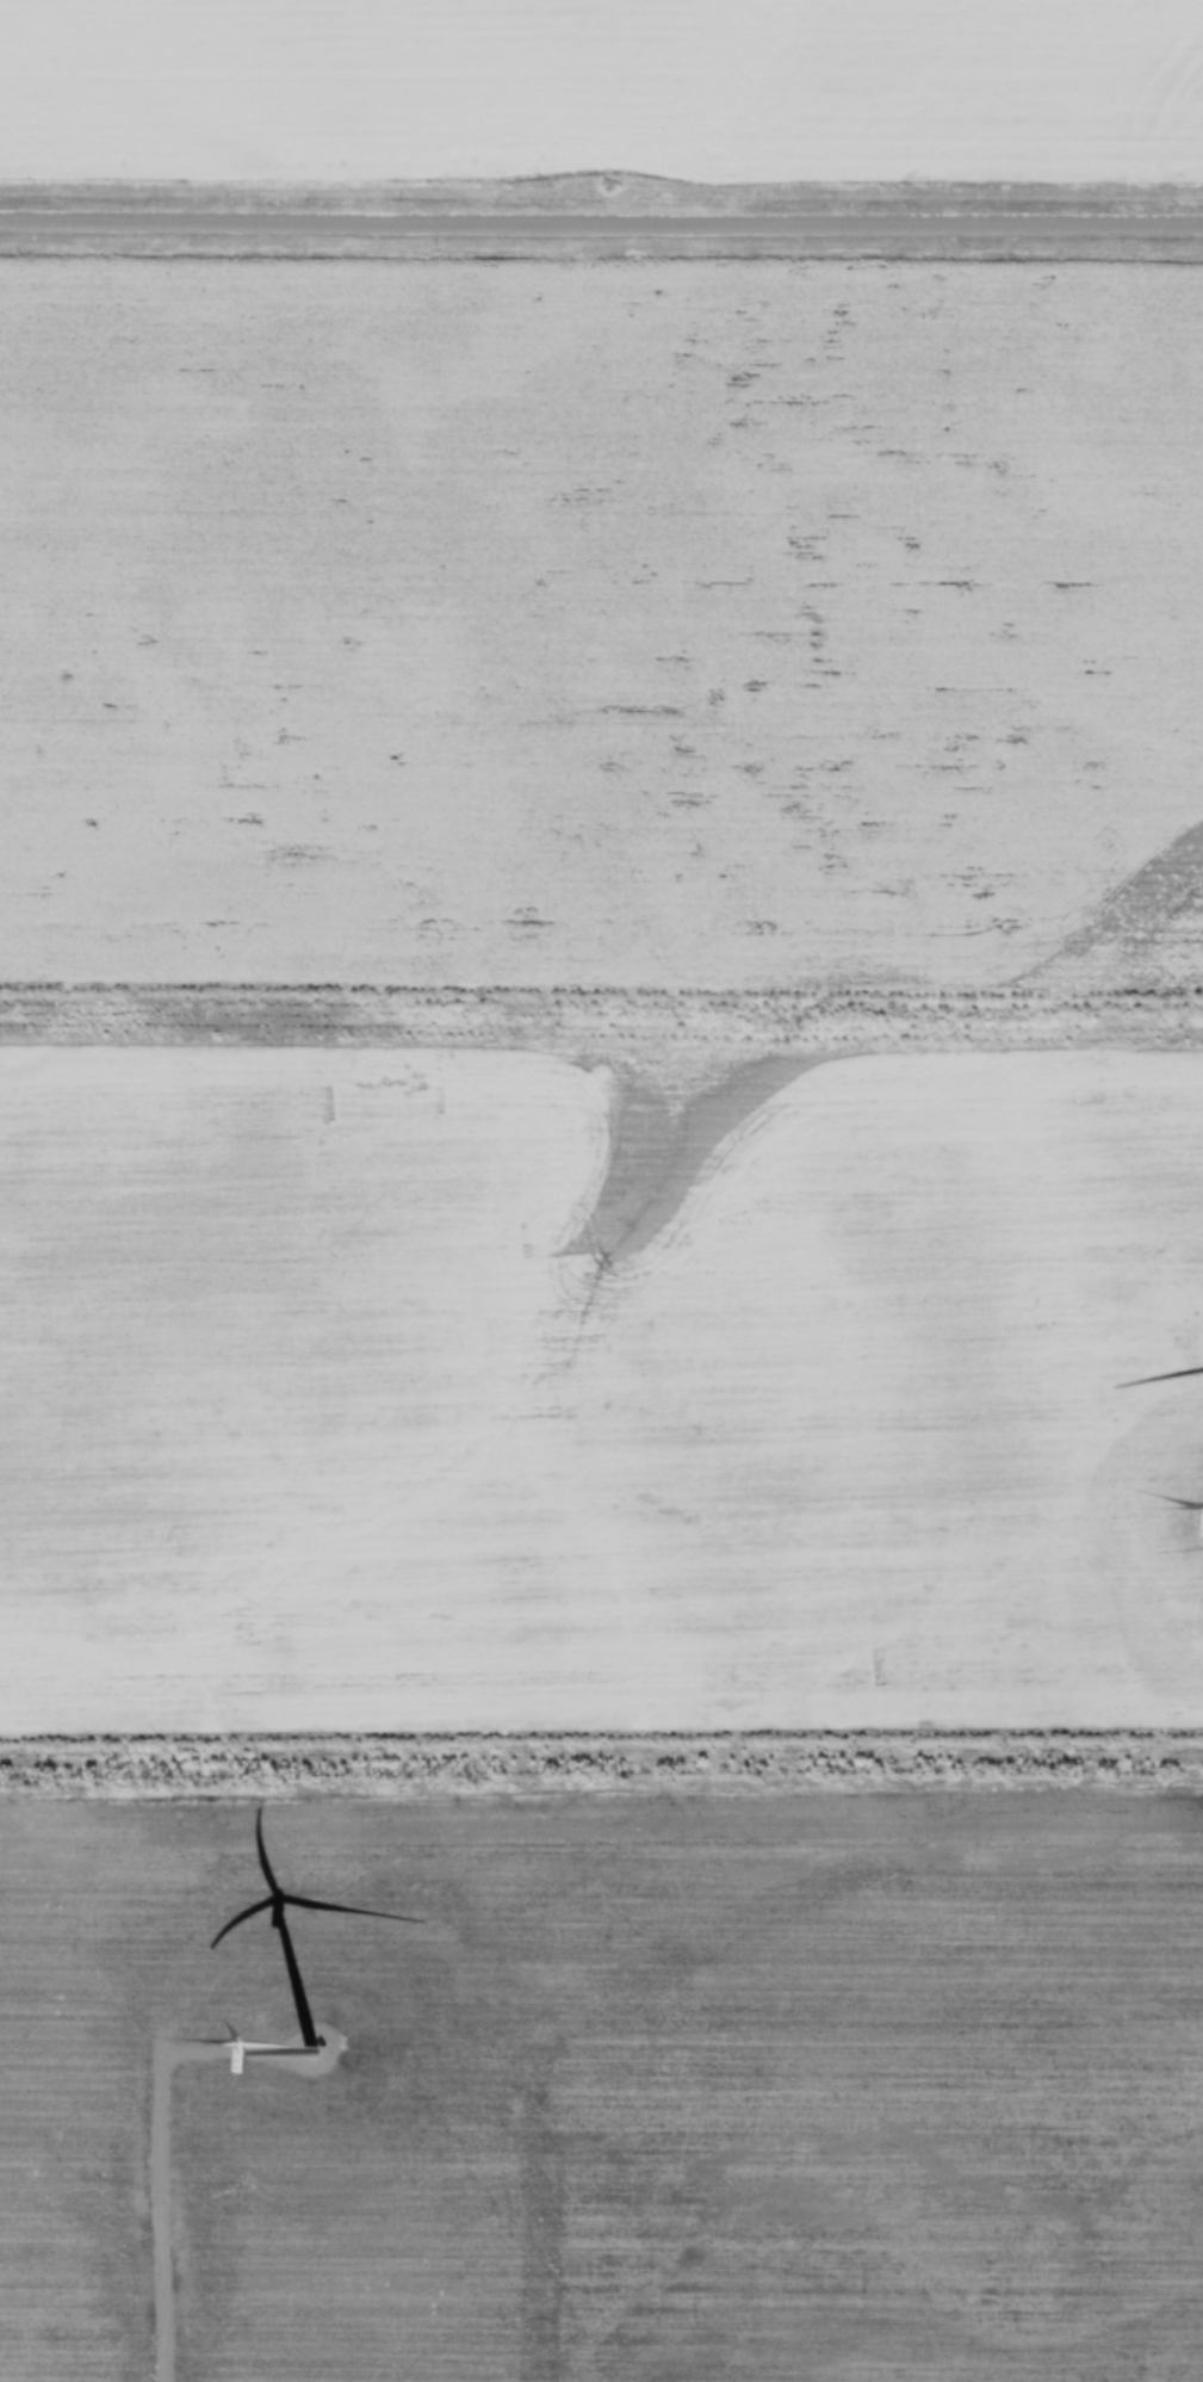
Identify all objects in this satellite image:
road: (601, 212)
wind turbine: (298, 2037)
road: (155, 2157)

